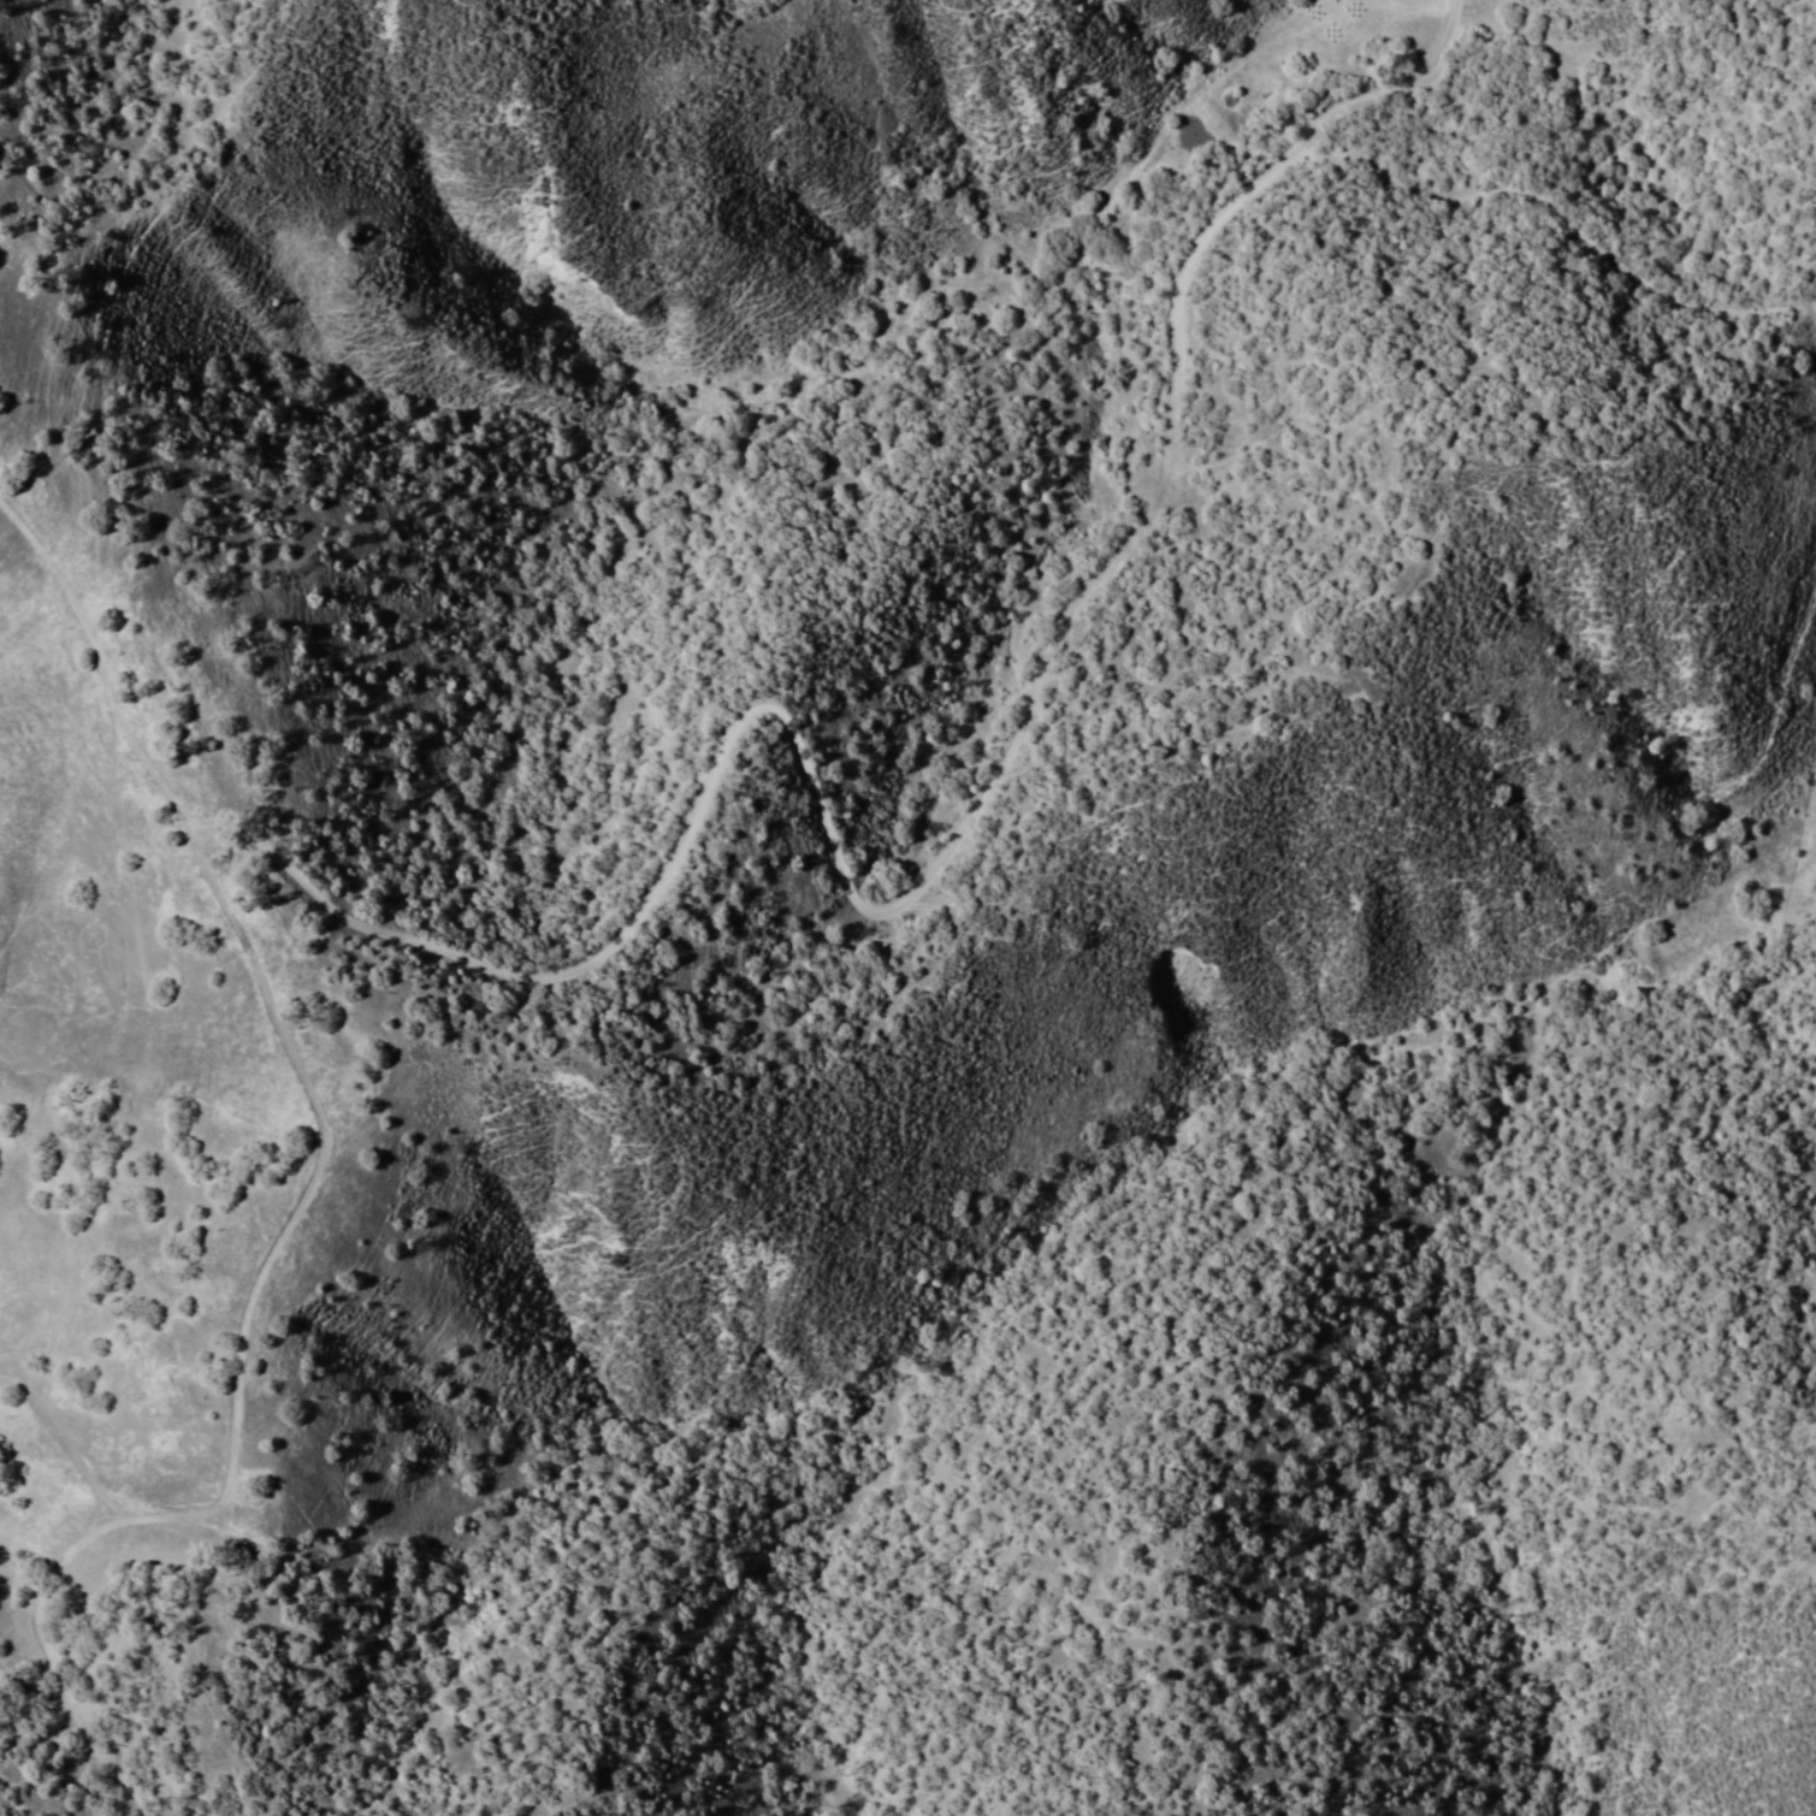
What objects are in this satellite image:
road: (827, 840)
road: (280, 1045)
road: (108, 1526)
road: (42, 1590)

